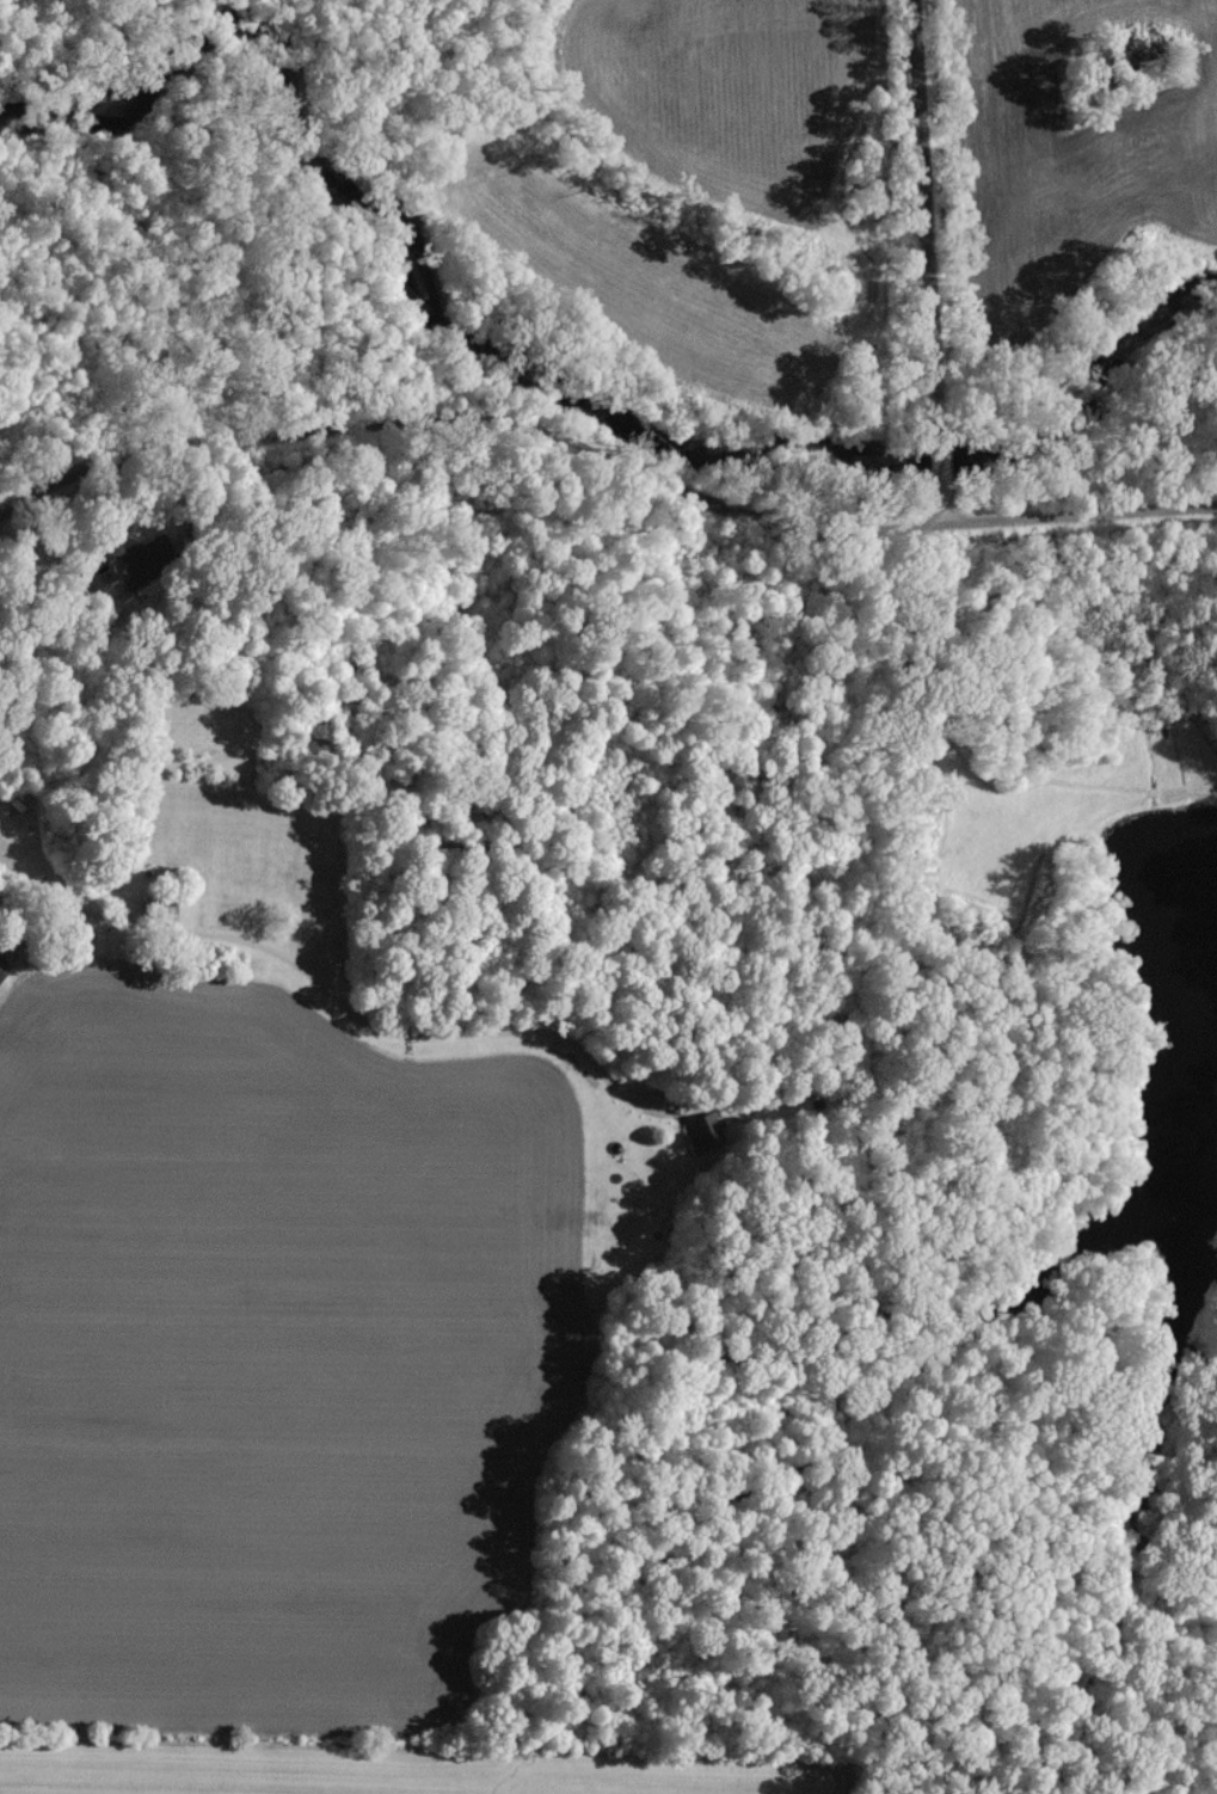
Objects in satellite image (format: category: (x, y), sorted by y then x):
road: (929, 260)
road: (598, 487)
building: (706, 1129)
crop: (279, 1394)

